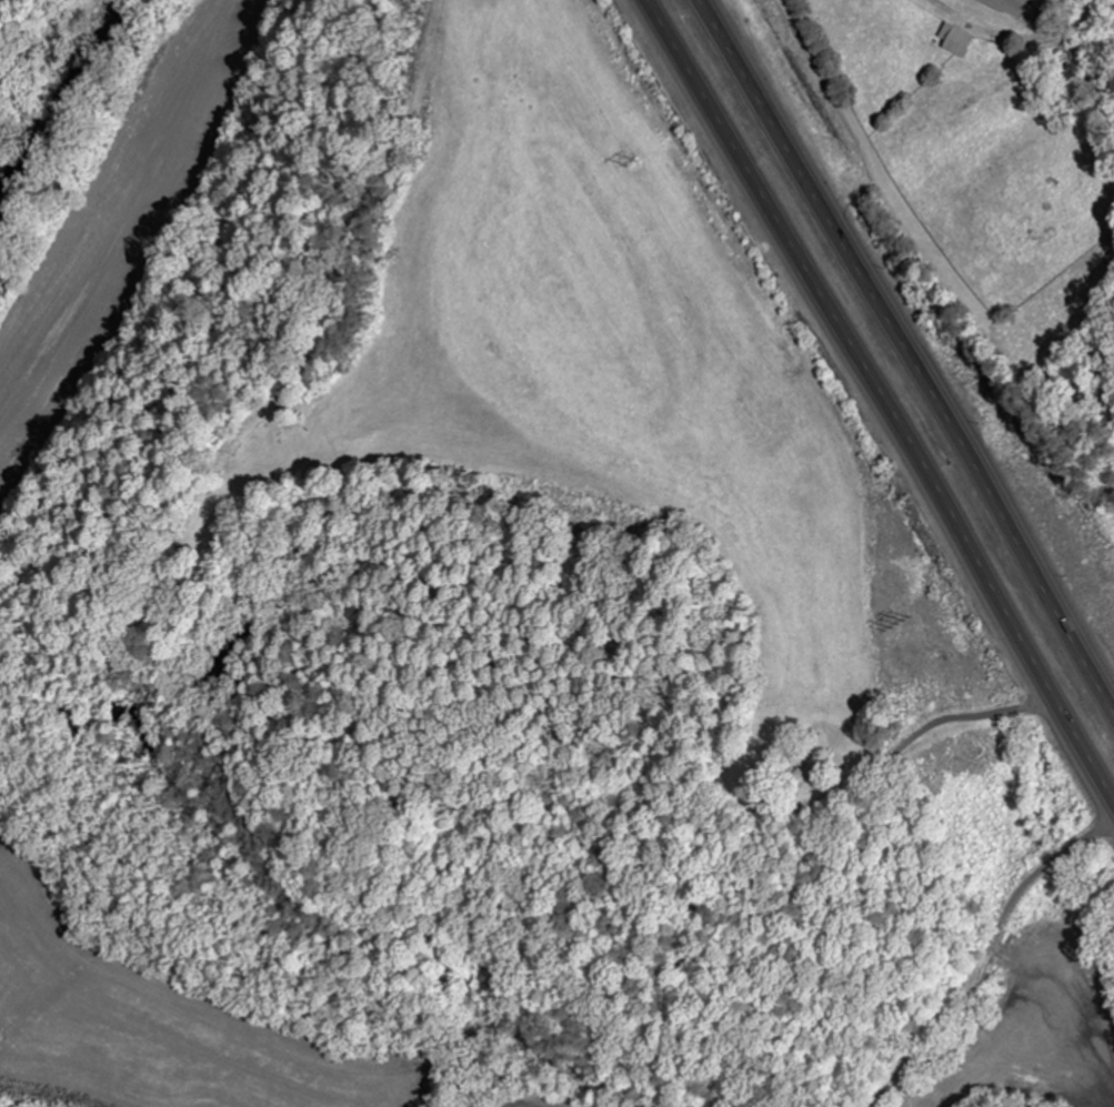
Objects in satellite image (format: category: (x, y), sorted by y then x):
building: (963, 41)
road: (907, 348)
road: (876, 399)

